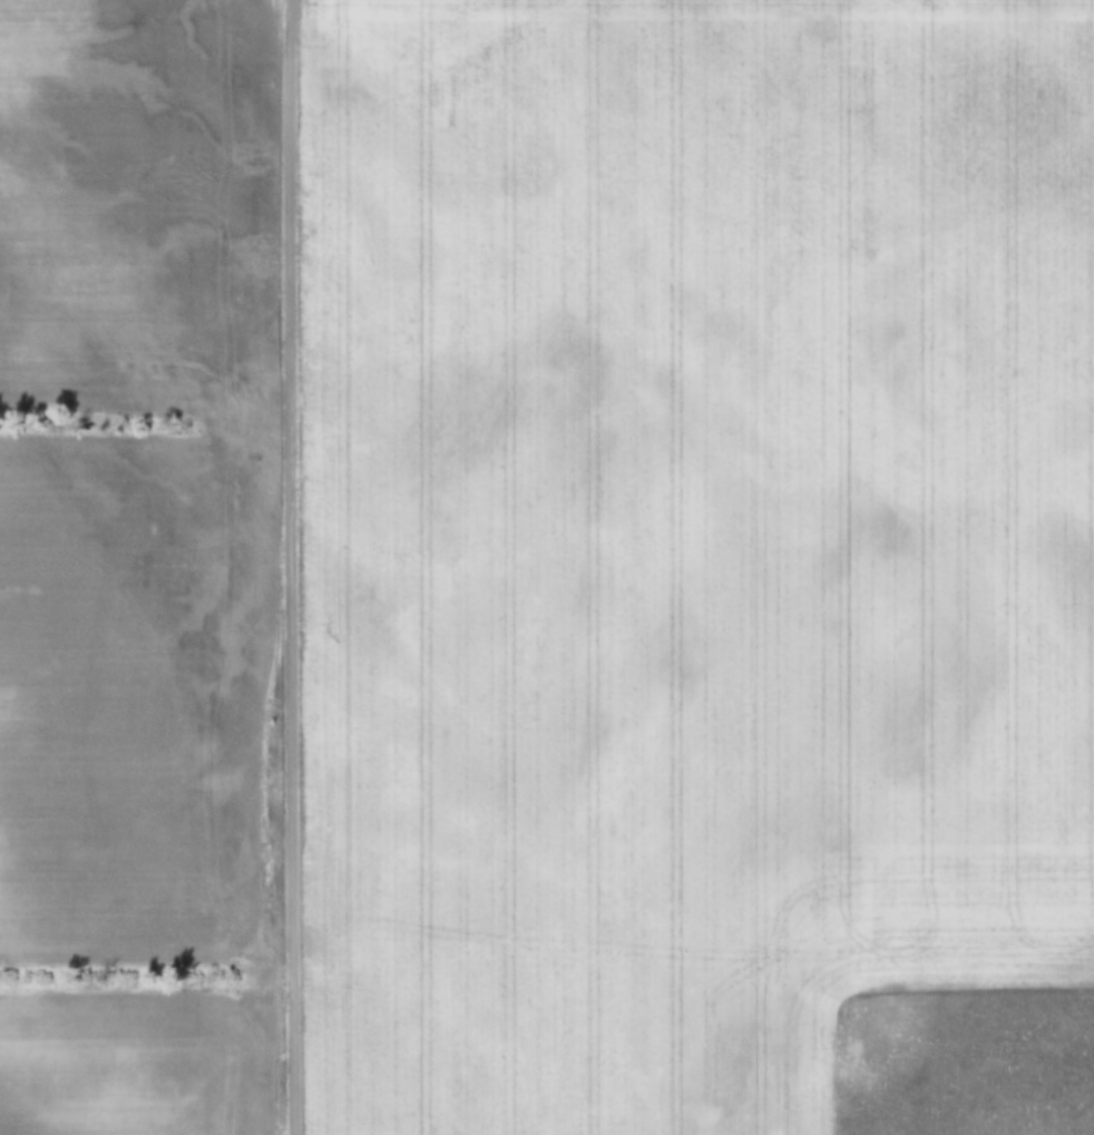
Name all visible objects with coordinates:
road: (292, 567)

